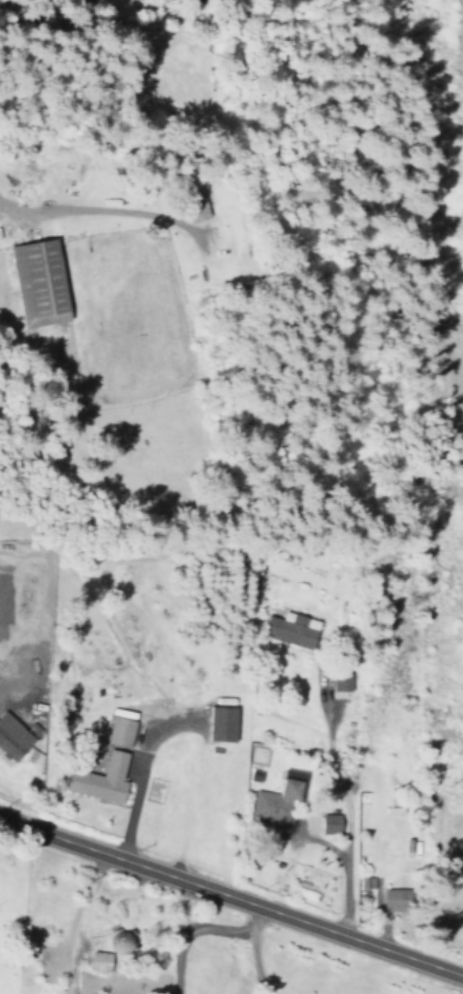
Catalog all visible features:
building: (74, 1)
road: (40, 17)
road: (93, 208)
building: (43, 282)
building: (293, 629)
building: (342, 680)
building: (120, 731)
building: (16, 735)
building: (102, 779)
building: (277, 800)
building: (333, 822)
road: (230, 899)
building: (402, 899)
road: (77, 922)
building: (102, 961)

